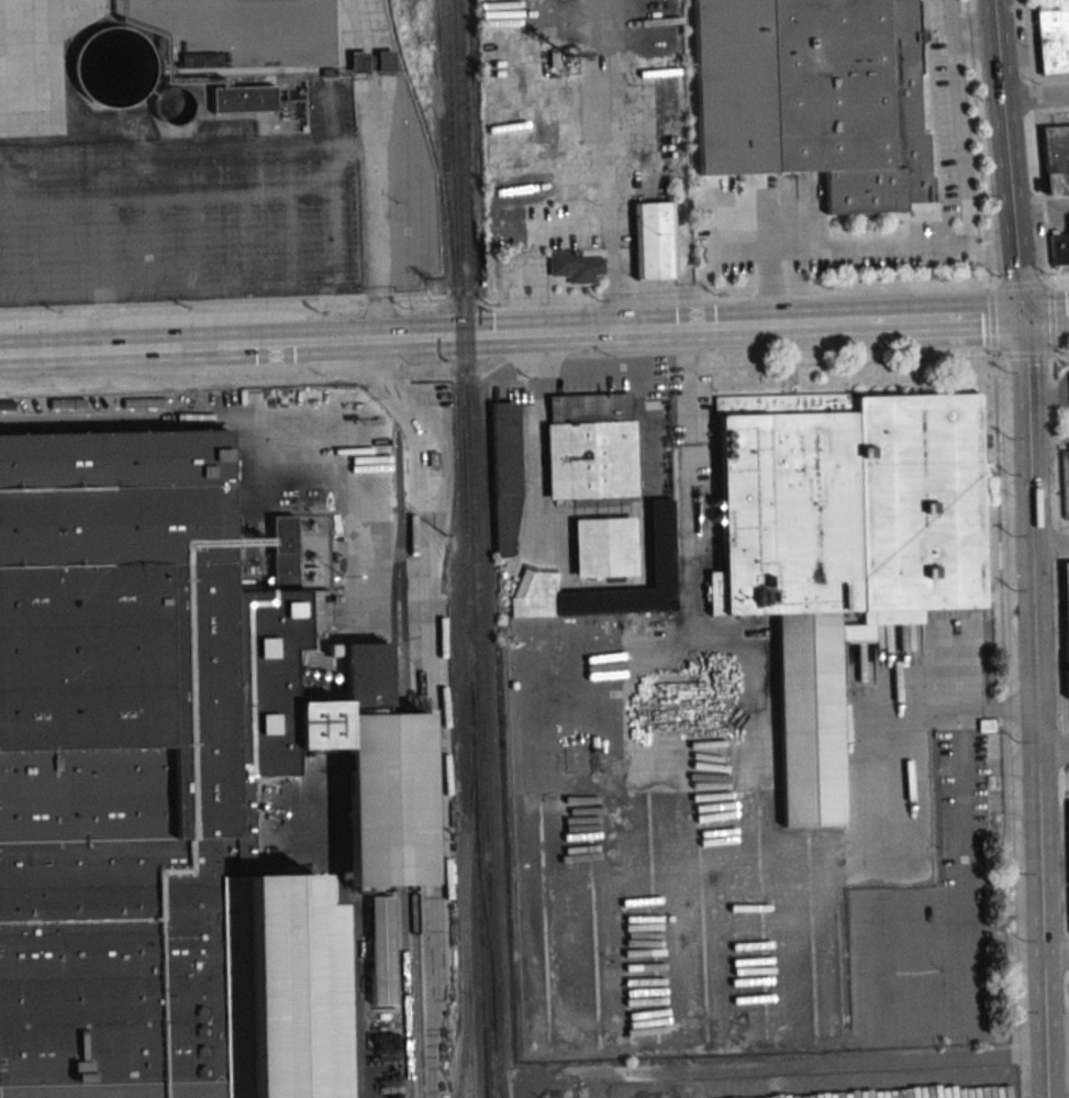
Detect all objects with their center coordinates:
road: (998, 35)
building: (1051, 35)
building: (385, 62)
road: (1036, 96)
building: (243, 99)
building: (855, 106)
railway: (433, 110)
road: (236, 146)
road: (47, 151)
building: (1056, 159)
road: (1040, 204)
building: (654, 240)
road: (380, 243)
road: (966, 247)
building: (1059, 248)
road: (98, 252)
building: (575, 266)
power tower: (441, 289)
road: (765, 291)
road: (531, 307)
road: (1045, 317)
traffic signals: (1022, 319)
road: (928, 321)
road: (760, 329)
road: (577, 336)
road: (234, 350)
railway: (469, 356)
road: (1047, 443)
building: (590, 445)
railway: (354, 464)
building: (504, 479)
building: (660, 535)
power tower: (446, 536)
building: (603, 547)
road: (1049, 547)
railway: (467, 548)
road: (1031, 548)
building: (843, 553)
railway: (463, 609)
building: (1066, 622)
road: (1053, 752)
railway: (408, 766)
building: (152, 783)
building: (387, 799)
building: (1068, 802)
railway: (399, 812)
road: (758, 817)
power tower: (452, 833)
railway: (489, 905)
railway: (485, 916)
railway: (465, 919)
building: (381, 951)
road: (1055, 957)
railway: (468, 1058)
road: (809, 1064)
railway: (497, 1080)

